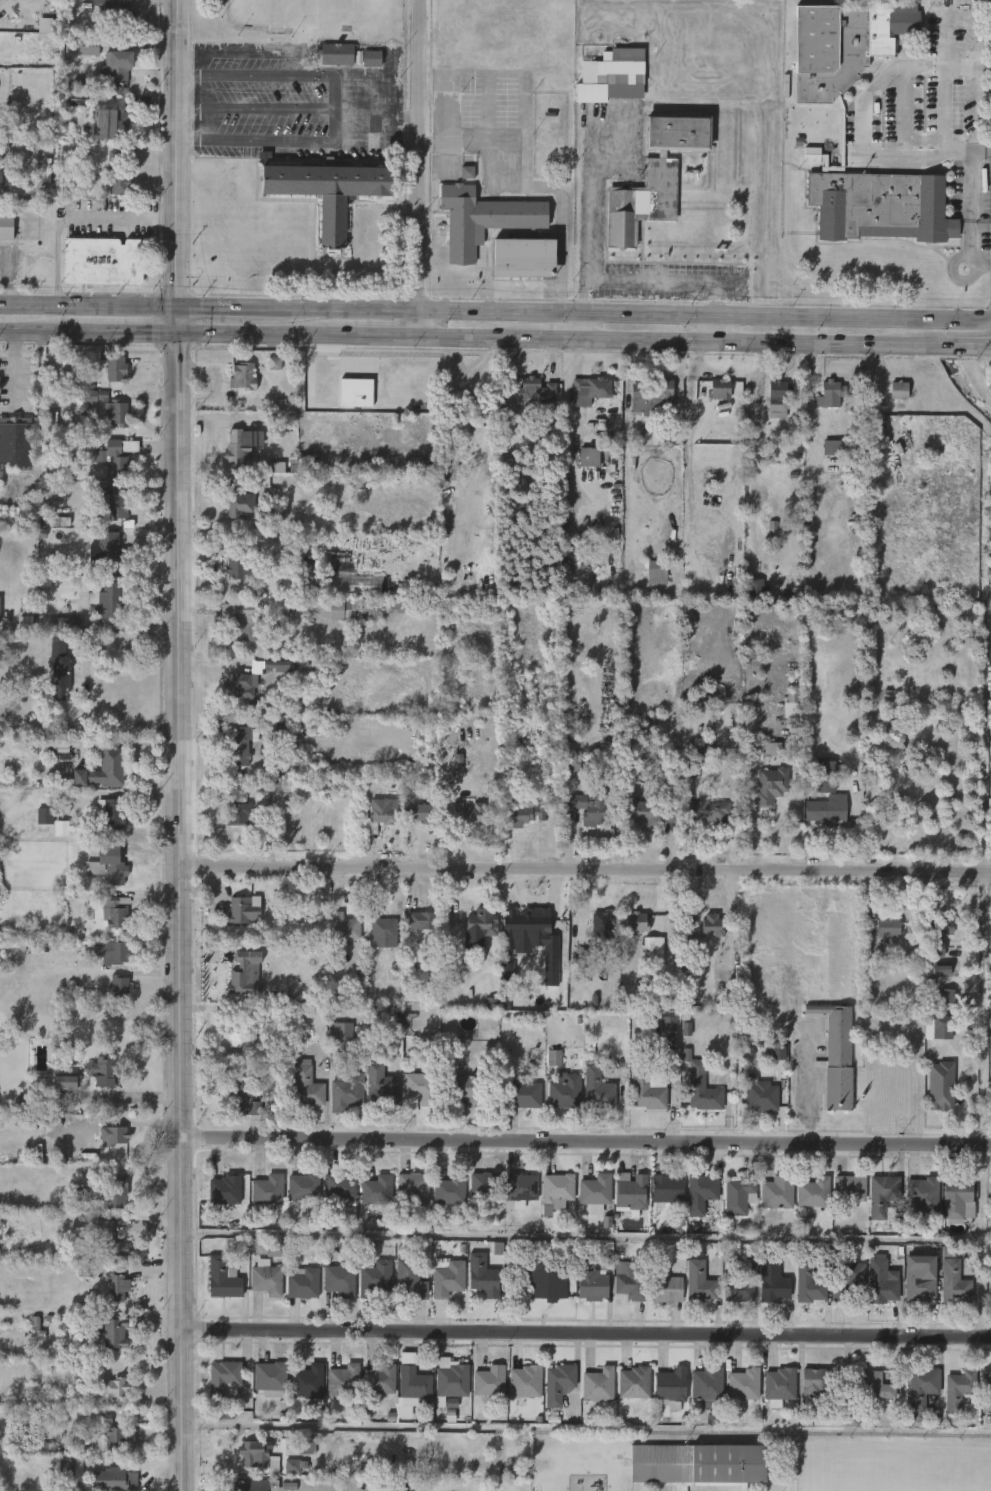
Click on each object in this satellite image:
building: (114, 13)
building: (45, 25)
building: (87, 45)
building: (347, 55)
building: (116, 66)
building: (612, 72)
road: (253, 76)
building: (76, 97)
road: (253, 107)
road: (331, 108)
road: (515, 111)
road: (374, 115)
building: (109, 118)
road: (864, 126)
building: (842, 128)
road: (253, 140)
road: (176, 166)
road: (416, 168)
building: (117, 172)
building: (467, 172)
building: (655, 175)
building: (1, 178)
building: (324, 191)
road: (584, 214)
road: (75, 215)
road: (967, 224)
building: (5, 227)
building: (465, 234)
building: (101, 262)
road: (660, 279)
traffic signals: (176, 307)
road: (288, 309)
road: (784, 315)
road: (576, 326)
road: (714, 328)
road: (46, 331)
road: (134, 332)
traffic signals: (177, 332)
road: (259, 334)
road: (379, 336)
road: (477, 338)
road: (556, 339)
road: (753, 343)
road: (962, 345)
building: (274, 363)
building: (116, 368)
building: (243, 375)
building: (536, 387)
building: (589, 388)
building: (722, 389)
building: (899, 390)
building: (355, 391)
building: (830, 393)
building: (94, 396)
building: (651, 396)
building: (778, 399)
building: (112, 409)
building: (874, 421)
building: (15, 440)
building: (242, 441)
building: (832, 447)
road: (690, 448)
building: (589, 456)
building: (112, 459)
building: (301, 464)
building: (275, 467)
building: (238, 502)
building: (114, 503)
building: (60, 521)
building: (110, 551)
building: (238, 564)
building: (656, 572)
building: (358, 585)
building: (423, 588)
building: (105, 602)
road: (983, 603)
building: (299, 604)
building: (363, 608)
building: (68, 619)
building: (0, 620)
building: (240, 620)
building: (25, 623)
road: (147, 625)
building: (281, 664)
building: (59, 669)
road: (87, 682)
building: (243, 688)
building: (792, 704)
building: (893, 735)
road: (129, 741)
building: (239, 744)
building: (52, 746)
building: (990, 746)
building: (772, 748)
building: (571, 760)
building: (102, 769)
building: (824, 776)
building: (281, 785)
building: (771, 785)
road: (116, 794)
building: (590, 806)
building: (710, 810)
building: (237, 812)
building: (422, 812)
building: (468, 812)
building: (831, 812)
building: (382, 813)
building: (647, 813)
building: (109, 814)
building: (523, 814)
building: (45, 816)
building: (61, 828)
building: (109, 864)
road: (586, 866)
road: (973, 874)
road: (535, 900)
building: (242, 910)
building: (114, 911)
road: (181, 911)
building: (421, 920)
building: (537, 920)
building: (478, 923)
building: (636, 923)
building: (714, 924)
building: (890, 925)
building: (941, 925)
building: (381, 928)
building: (345, 929)
building: (603, 931)
building: (653, 948)
building: (935, 948)
building: (550, 951)
building: (117, 952)
building: (584, 957)
building: (451, 967)
building: (942, 971)
building: (244, 972)
building: (507, 974)
building: (120, 985)
building: (947, 996)
building: (668, 1023)
building: (937, 1027)
building: (243, 1031)
building: (341, 1042)
building: (930, 1044)
building: (836, 1055)
building: (554, 1057)
building: (102, 1070)
building: (65, 1083)
building: (306, 1085)
building: (380, 1086)
building: (940, 1086)
building: (597, 1089)
building: (467, 1090)
building: (416, 1091)
building: (646, 1091)
building: (345, 1092)
building: (703, 1092)
building: (565, 1093)
building: (762, 1094)
building: (522, 1095)
building: (242, 1099)
road: (956, 1099)
building: (933, 1102)
building: (113, 1136)
road: (585, 1137)
building: (487, 1184)
building: (340, 1187)
building: (415, 1187)
building: (302, 1189)
building: (451, 1189)
building: (521, 1189)
building: (849, 1189)
building: (557, 1190)
building: (666, 1190)
building: (267, 1191)
building: (377, 1191)
building: (104, 1192)
building: (224, 1192)
building: (701, 1192)
building: (813, 1192)
building: (595, 1193)
building: (777, 1193)
building: (630, 1194)
building: (739, 1196)
building: (883, 1196)
building: (919, 1196)
building: (953, 1199)
building: (350, 1216)
road: (580, 1236)
building: (110, 1240)
road: (979, 1242)
building: (347, 1246)
building: (276, 1250)
building: (84, 1270)
building: (482, 1275)
building: (544, 1277)
building: (223, 1278)
building: (630, 1278)
building: (953, 1278)
building: (267, 1279)
building: (339, 1279)
building: (375, 1279)
building: (409, 1279)
building: (447, 1280)
building: (590, 1280)
building: (774, 1280)
building: (918, 1280)
building: (738, 1281)
building: (881, 1281)
building: (302, 1282)
building: (699, 1282)
building: (808, 1282)
building: (850, 1282)
building: (118, 1286)
building: (664, 1287)
building: (990, 1302)
building: (114, 1332)
road: (586, 1332)
building: (269, 1378)
building: (223, 1379)
building: (379, 1379)
building: (307, 1380)
building: (489, 1380)
building: (525, 1380)
building: (816, 1380)
building: (342, 1381)
building: (453, 1381)
building: (414, 1383)
building: (557, 1383)
building: (598, 1384)
building: (635, 1384)
building: (745, 1384)
building: (707, 1385)
building: (781, 1385)
building: (873, 1385)
building: (671, 1386)
building: (922, 1386)
building: (112, 1387)
building: (959, 1388)
building: (986, 1389)
road: (587, 1427)
building: (114, 1434)
building: (306, 1446)
building: (251, 1451)
building: (701, 1463)
building: (273, 1466)
building: (292, 1466)
building: (71, 1469)
building: (107, 1479)
building: (253, 1484)
building: (394, 1486)

